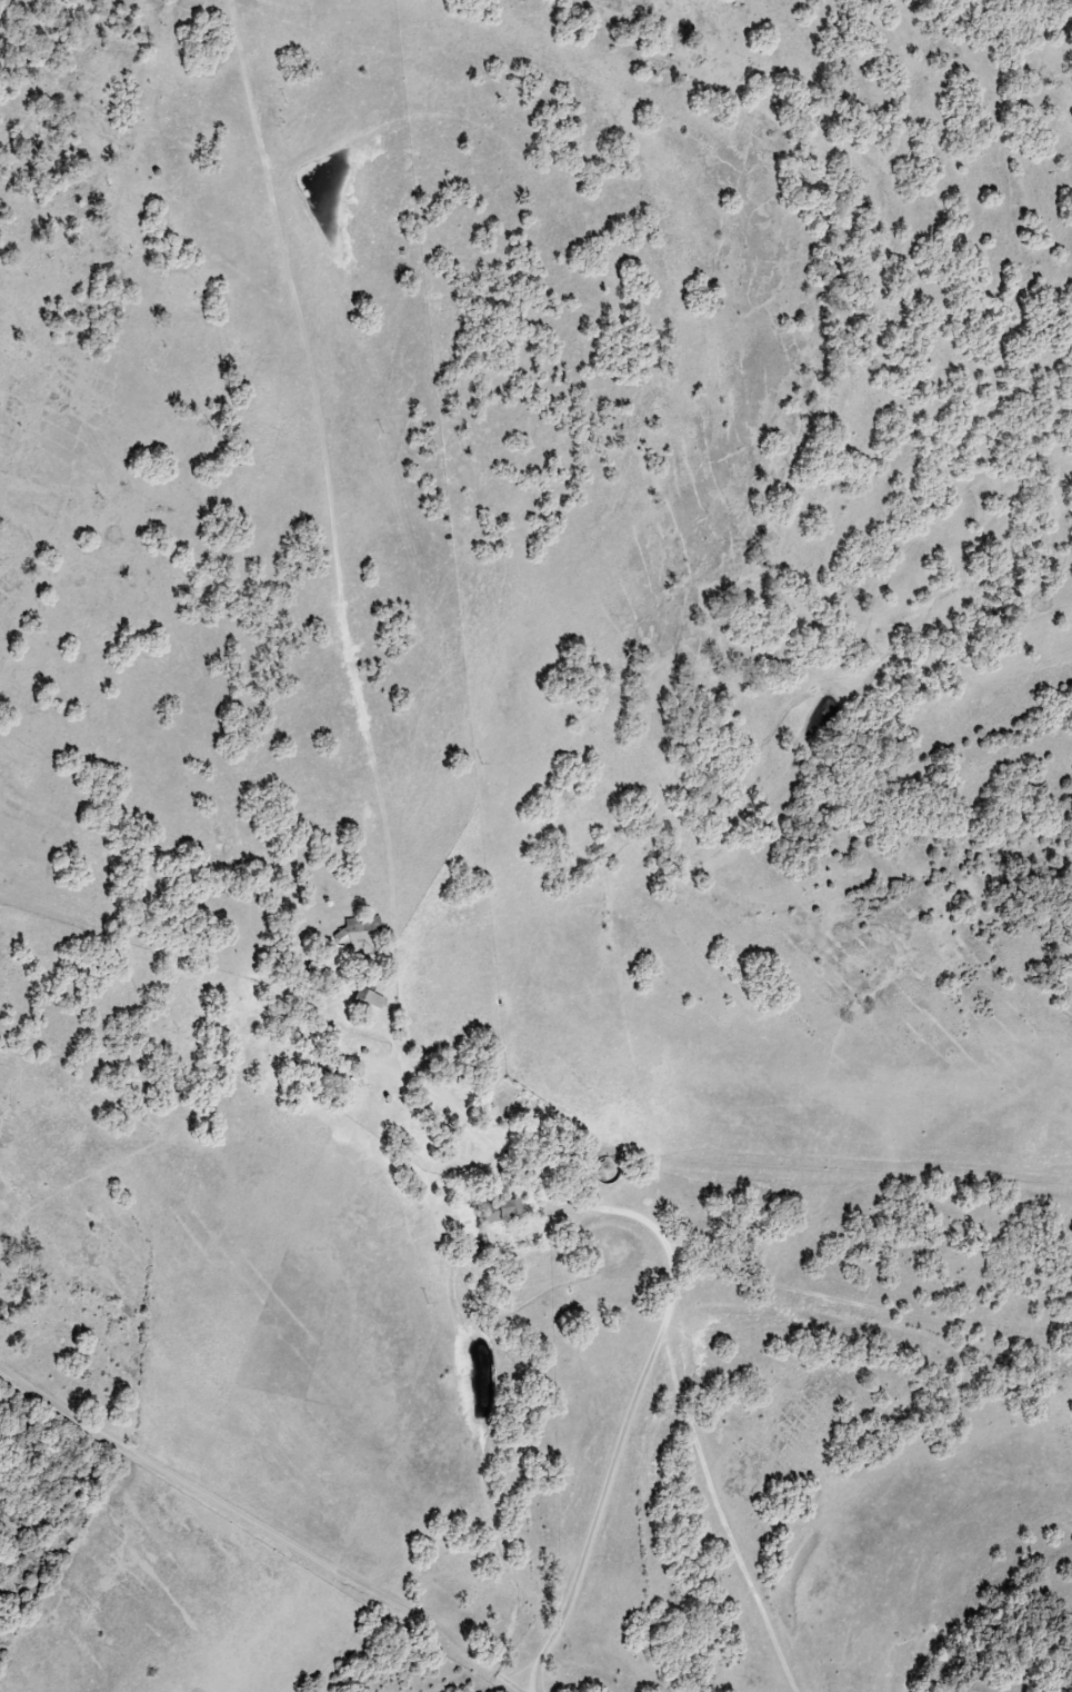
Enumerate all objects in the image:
building: (362, 925)
building: (501, 1208)
road: (623, 1430)
road: (269, 1524)

